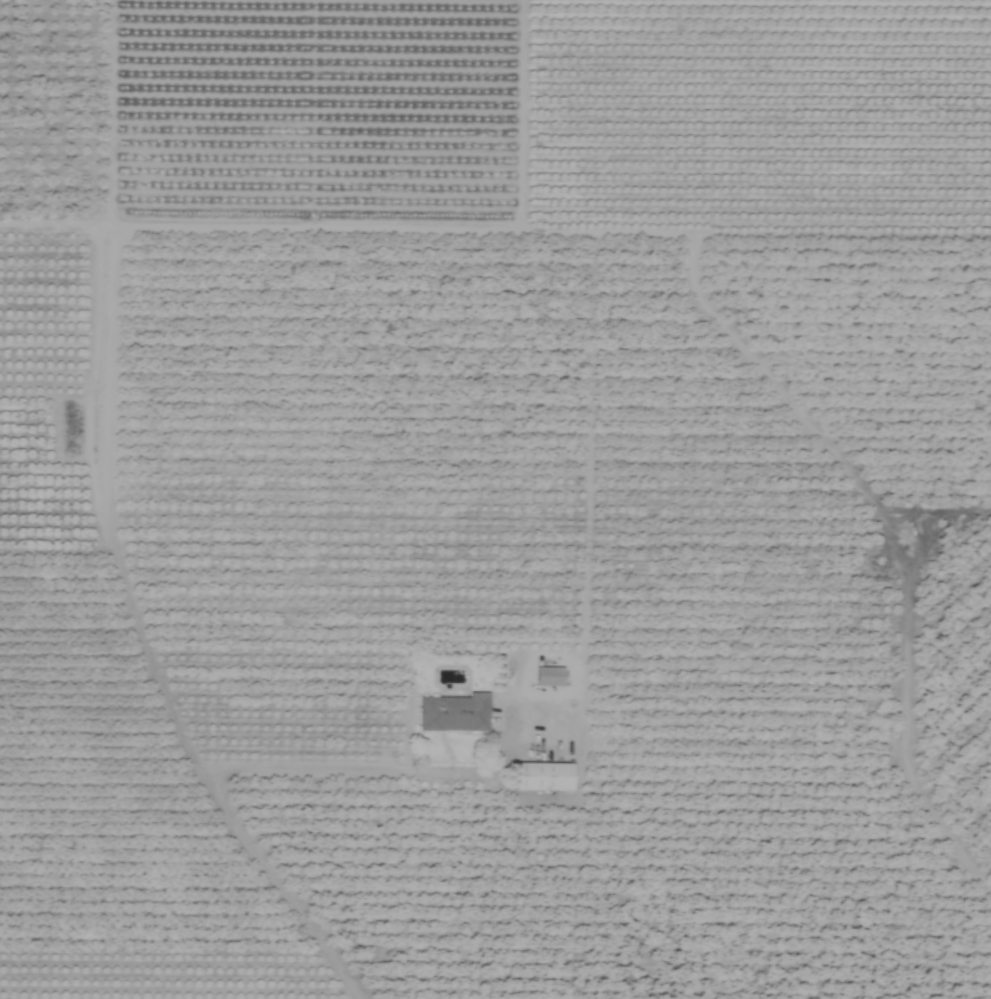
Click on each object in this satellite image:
crop: (495, 499)
building: (548, 676)
building: (453, 713)
road: (205, 769)
building: (542, 777)

